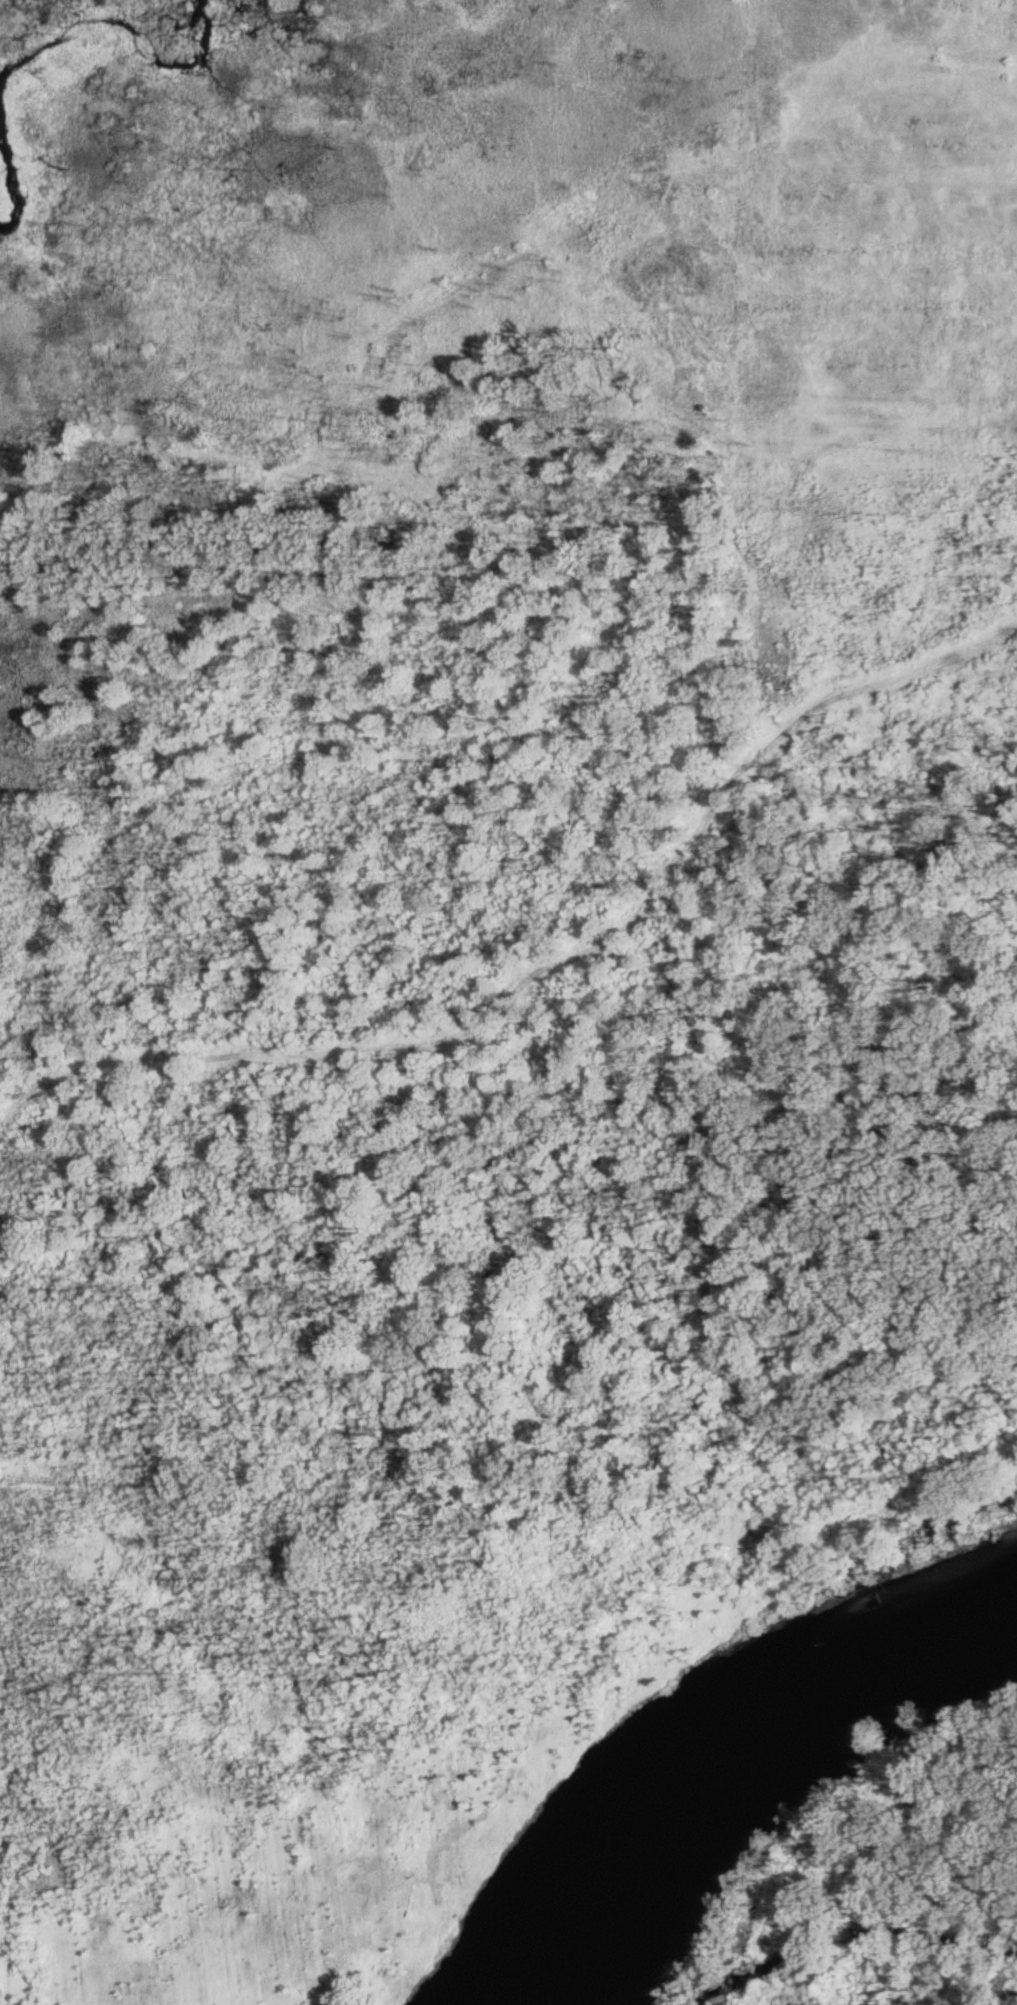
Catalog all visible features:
river: (746, 1760)
road: (810, 1998)

